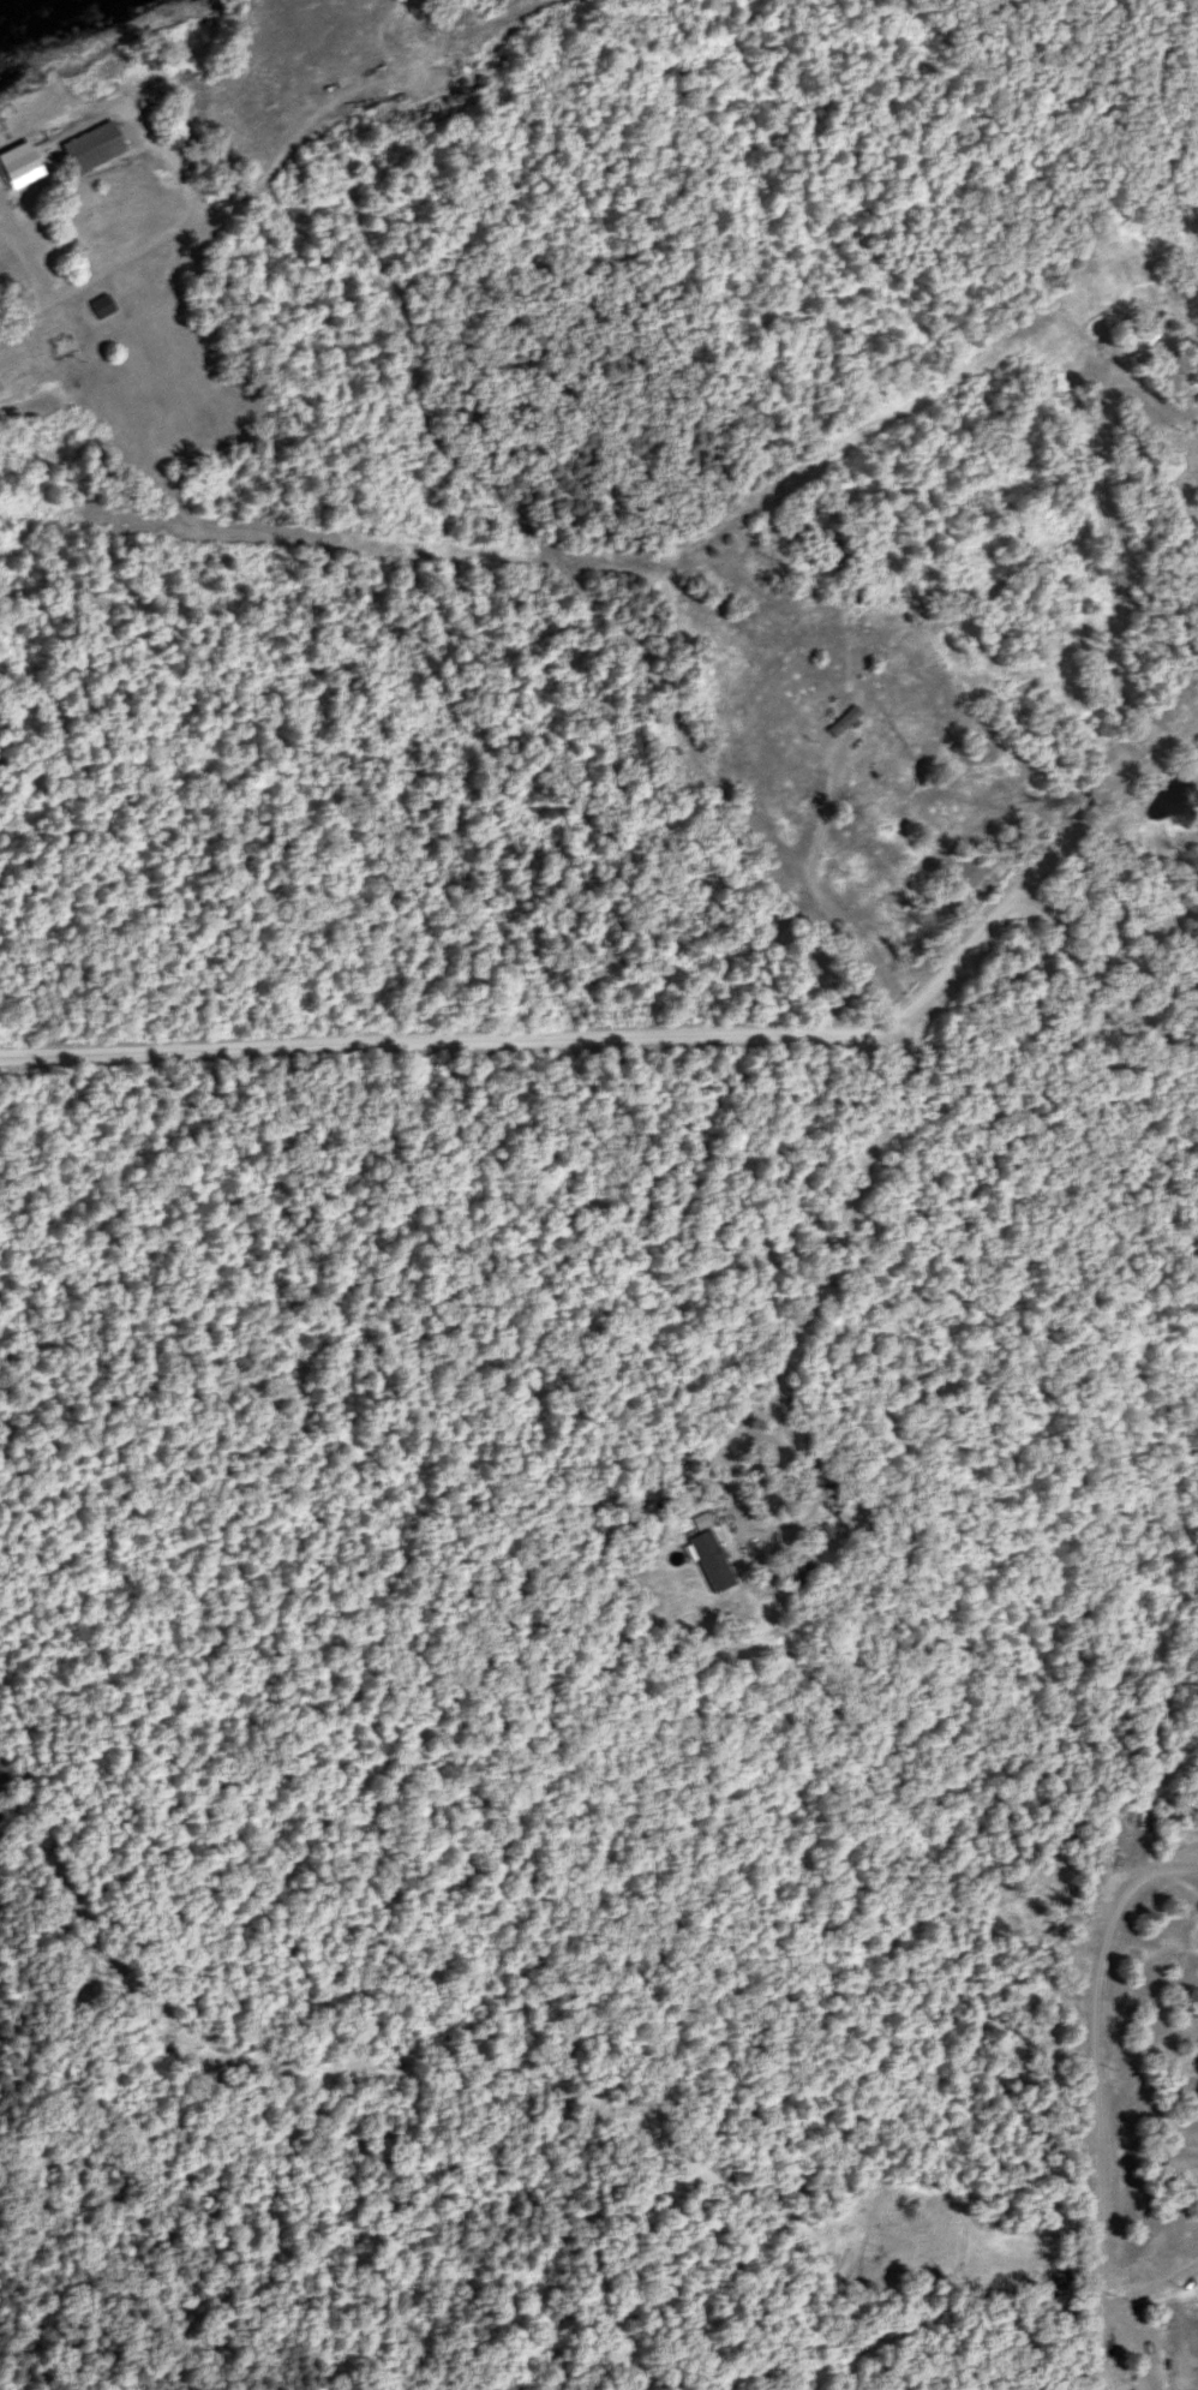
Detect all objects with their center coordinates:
building: (373, 66)
building: (335, 79)
building: (73, 144)
building: (19, 166)
road: (205, 216)
building: (101, 307)
building: (1150, 333)
road: (826, 412)
road: (567, 522)
road: (1108, 570)
road: (904, 734)
road: (1030, 865)
park: (1125, 986)
road: (436, 1032)
building: (703, 1560)
road: (1096, 2090)

